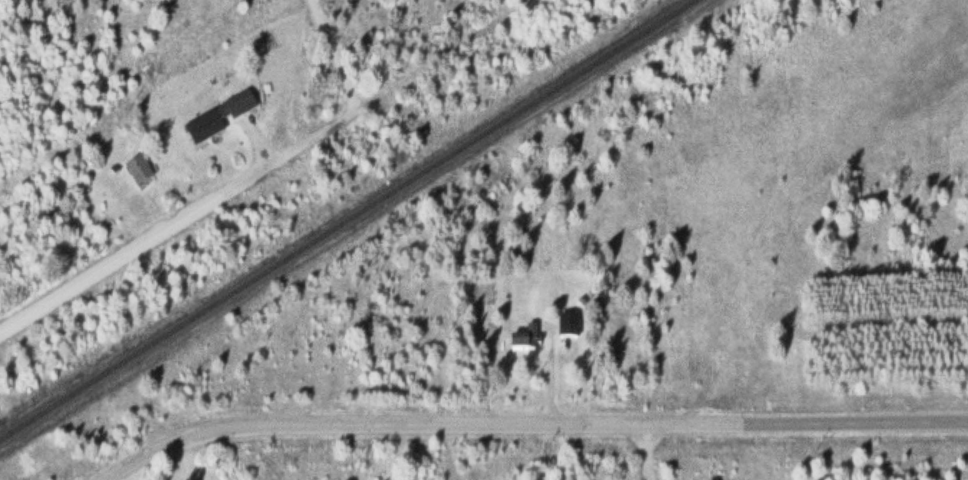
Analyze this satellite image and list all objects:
building: (218, 121)
building: (140, 173)
railway: (347, 220)
road: (149, 238)
building: (483, 296)
building: (527, 341)
road: (533, 425)
road: (643, 452)

